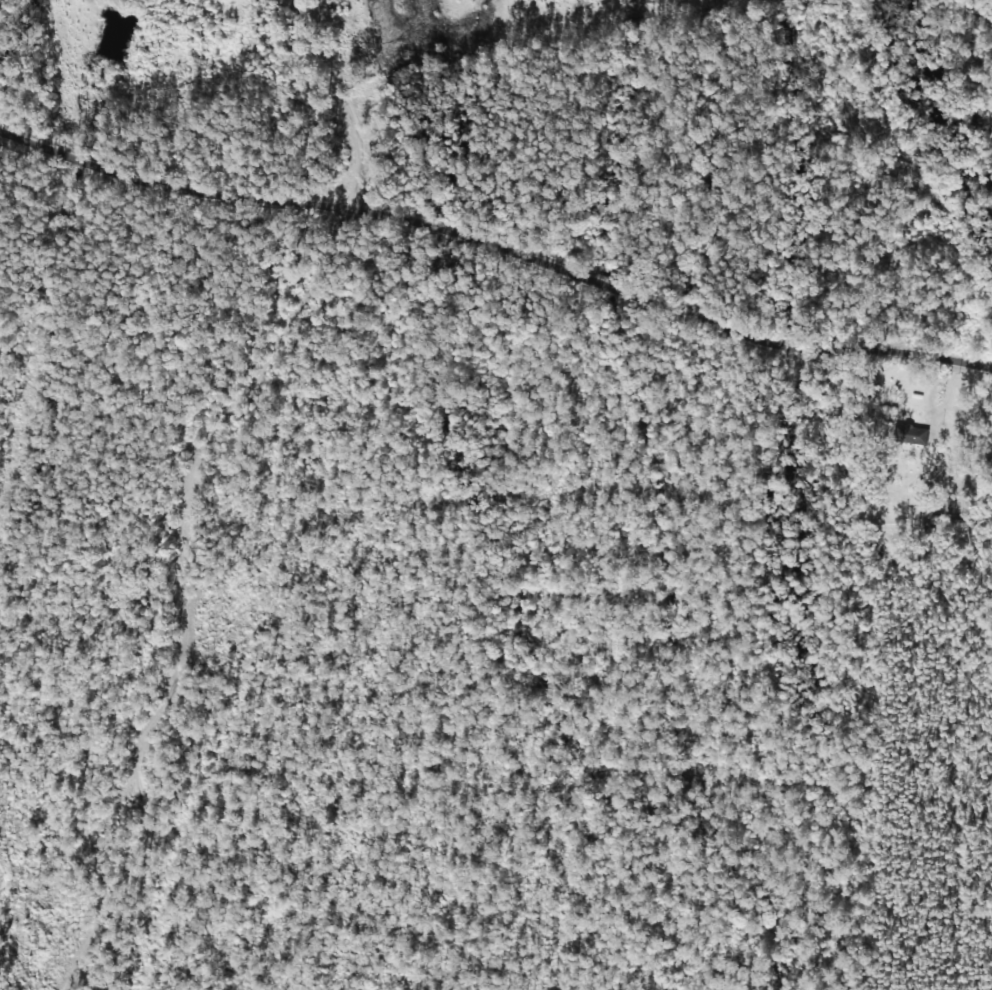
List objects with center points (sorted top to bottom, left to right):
road: (497, 262)
building: (908, 433)

